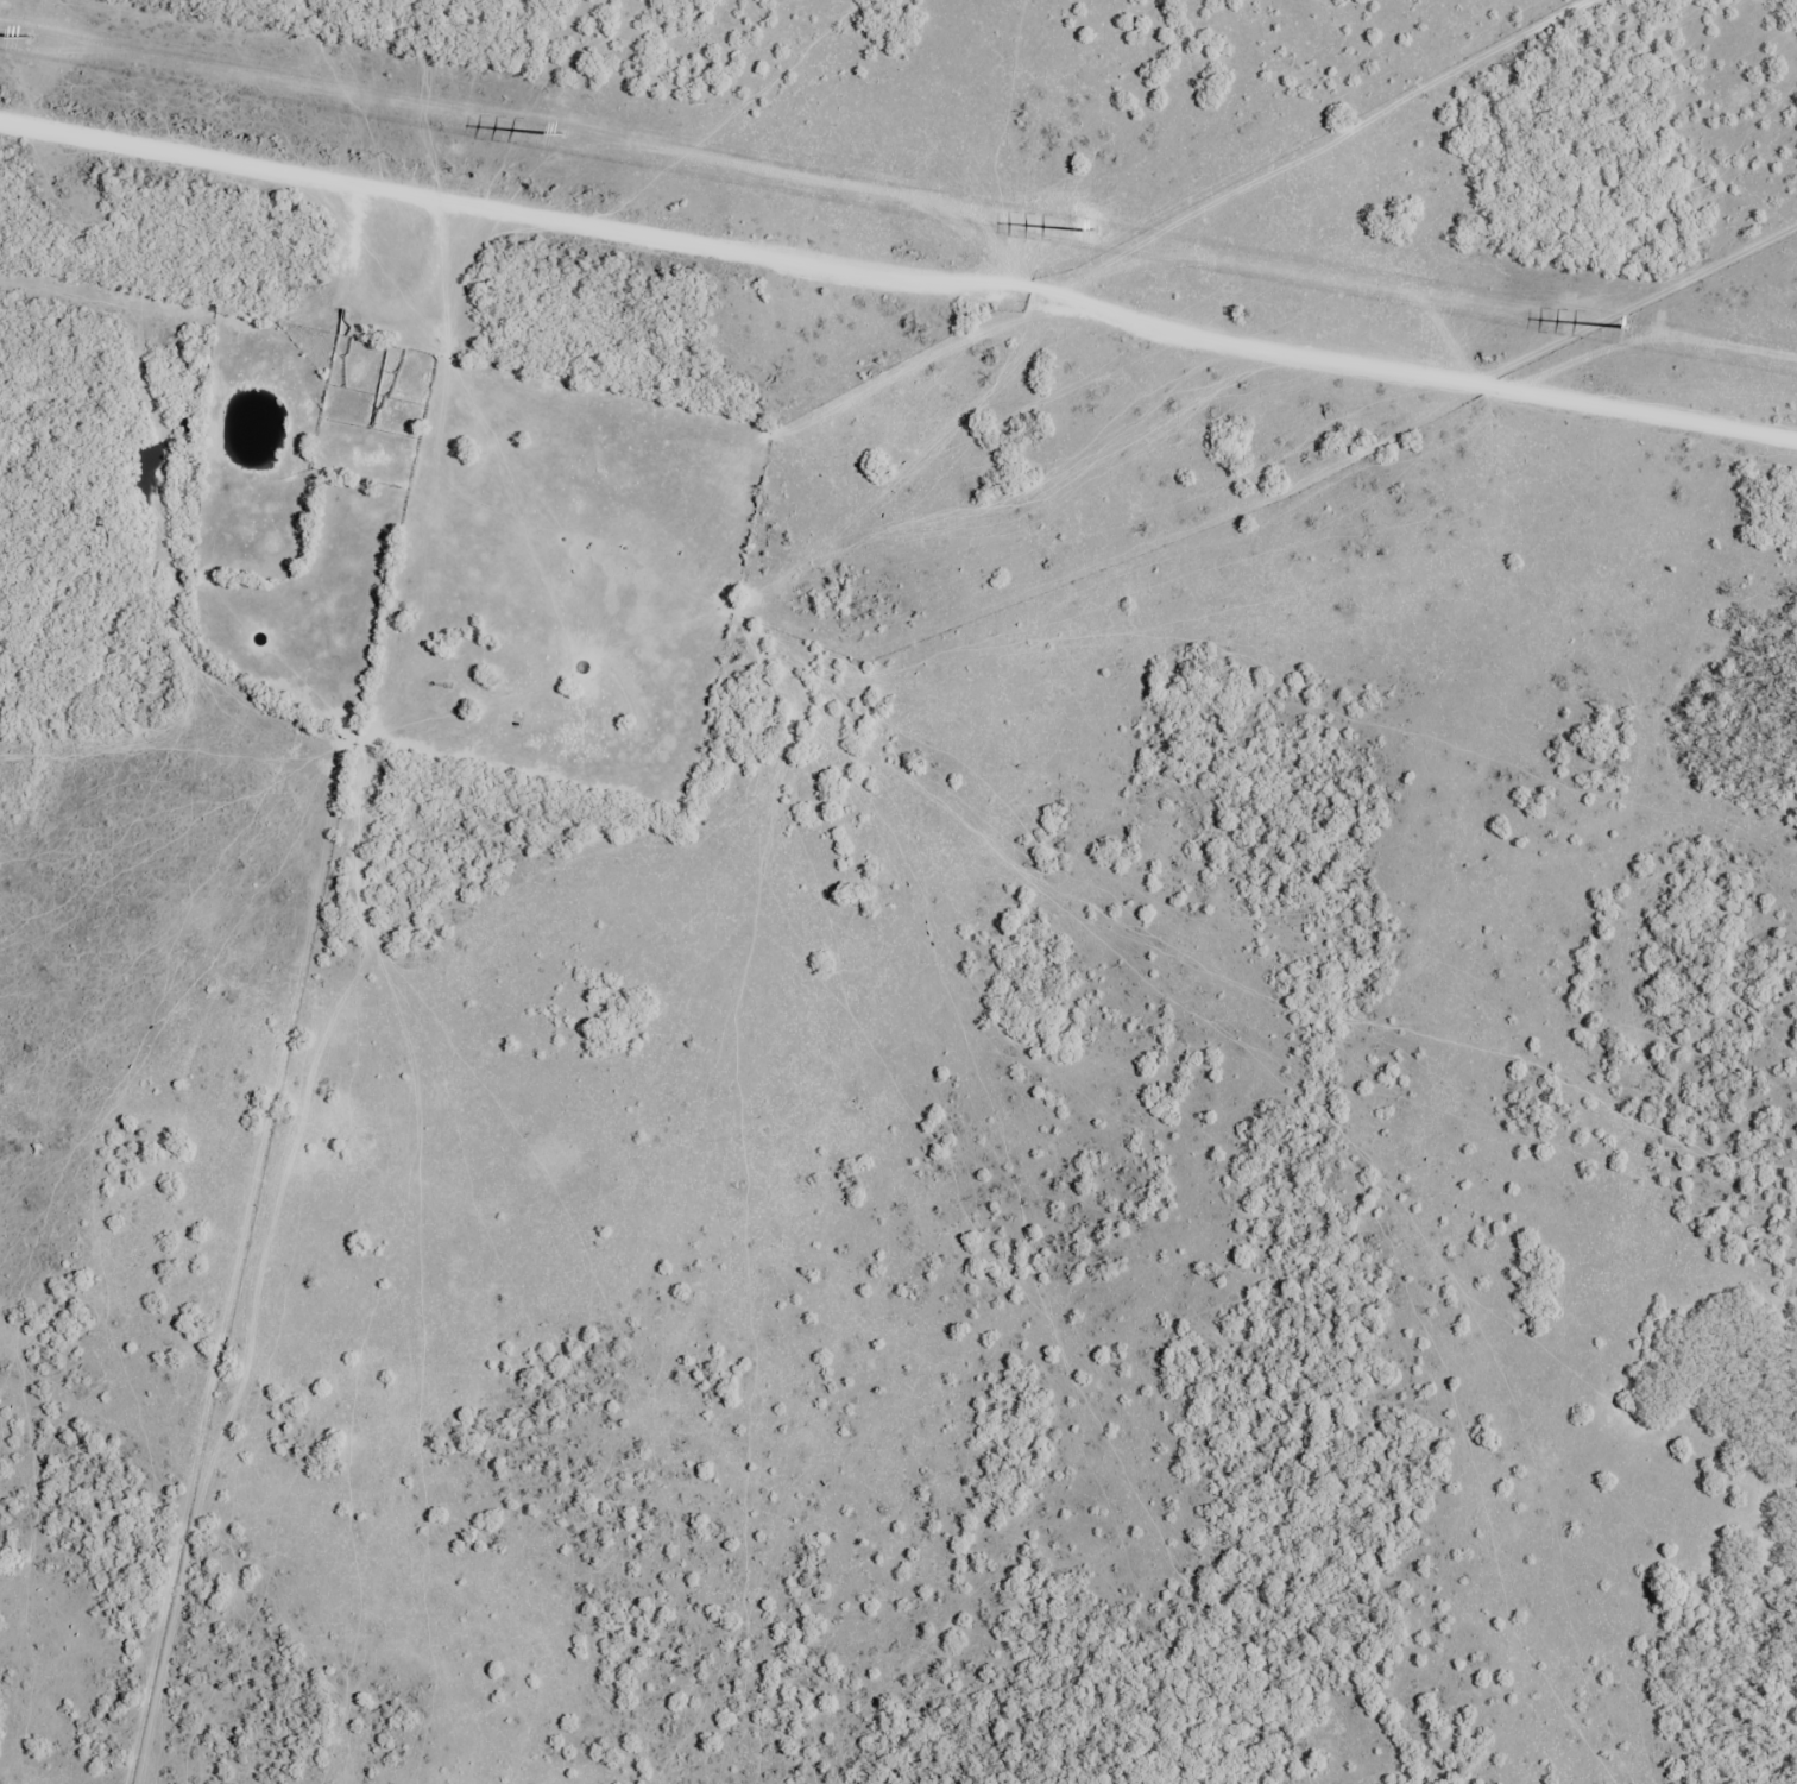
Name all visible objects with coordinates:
power tower: (32, 43)
power tower: (567, 138)
power tower: (1096, 233)
road: (1135, 326)
power tower: (1629, 333)
road: (220, 343)
road: (361, 757)
road: (55, 1758)

